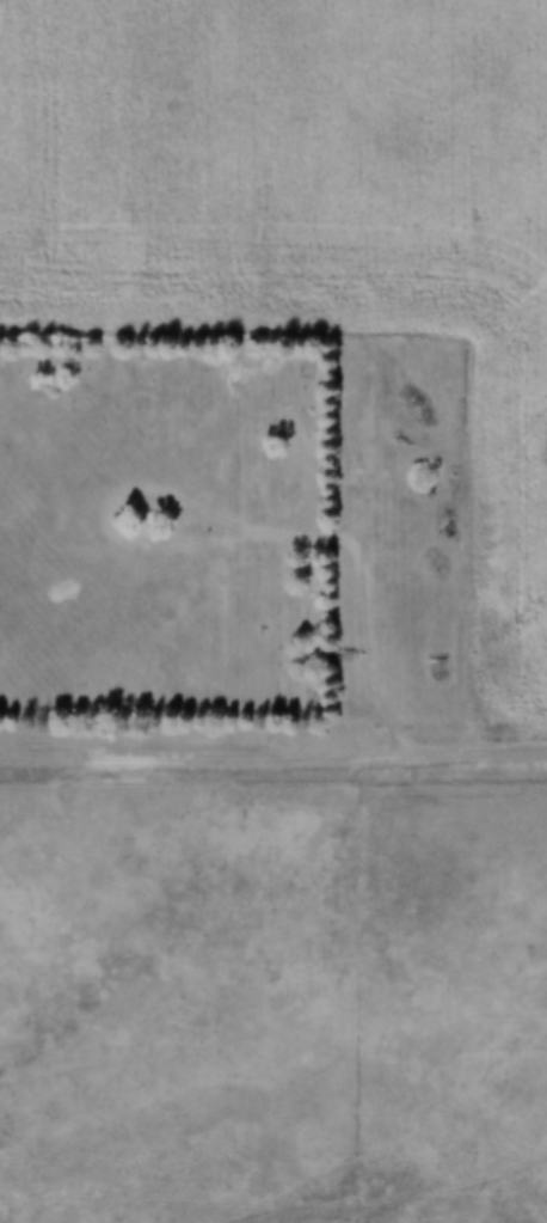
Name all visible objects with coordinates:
road: (367, 612)
road: (483, 751)
road: (210, 760)

